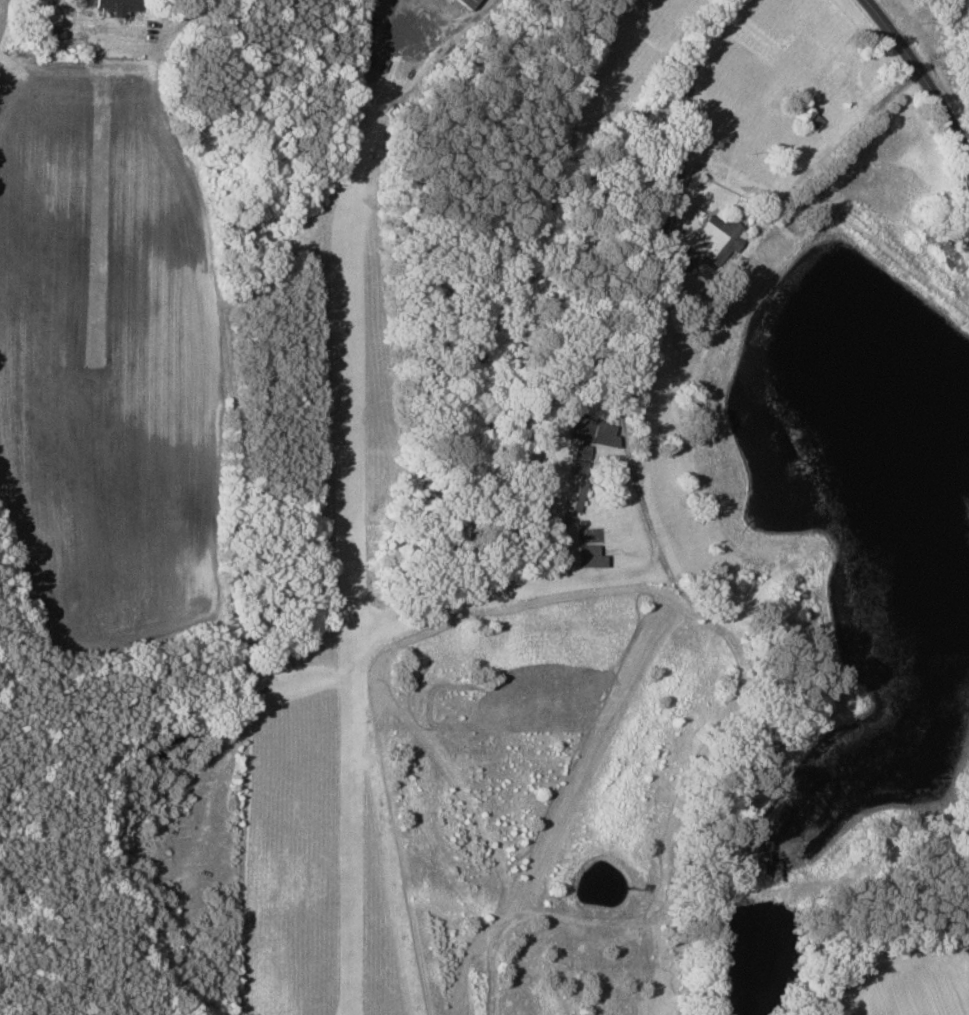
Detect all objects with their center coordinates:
building: (467, 3)
building: (119, 6)
road: (924, 70)
building: (716, 239)
building: (594, 431)
building: (579, 467)
building: (573, 496)
building: (591, 556)
road: (681, 580)
building: (276, 664)

